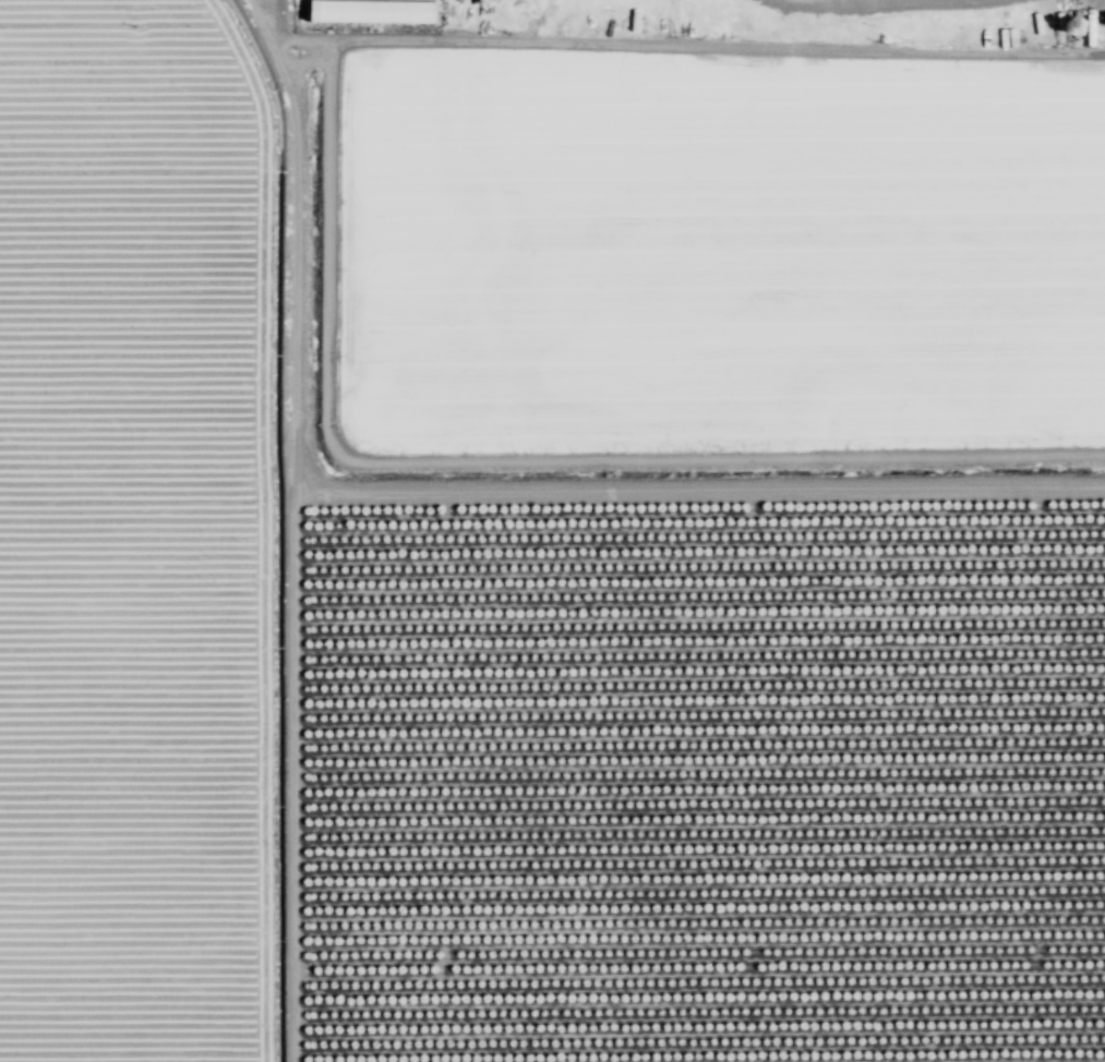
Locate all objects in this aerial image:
road: (889, 5)
building: (367, 12)
building: (1103, 21)
crop: (544, 554)

